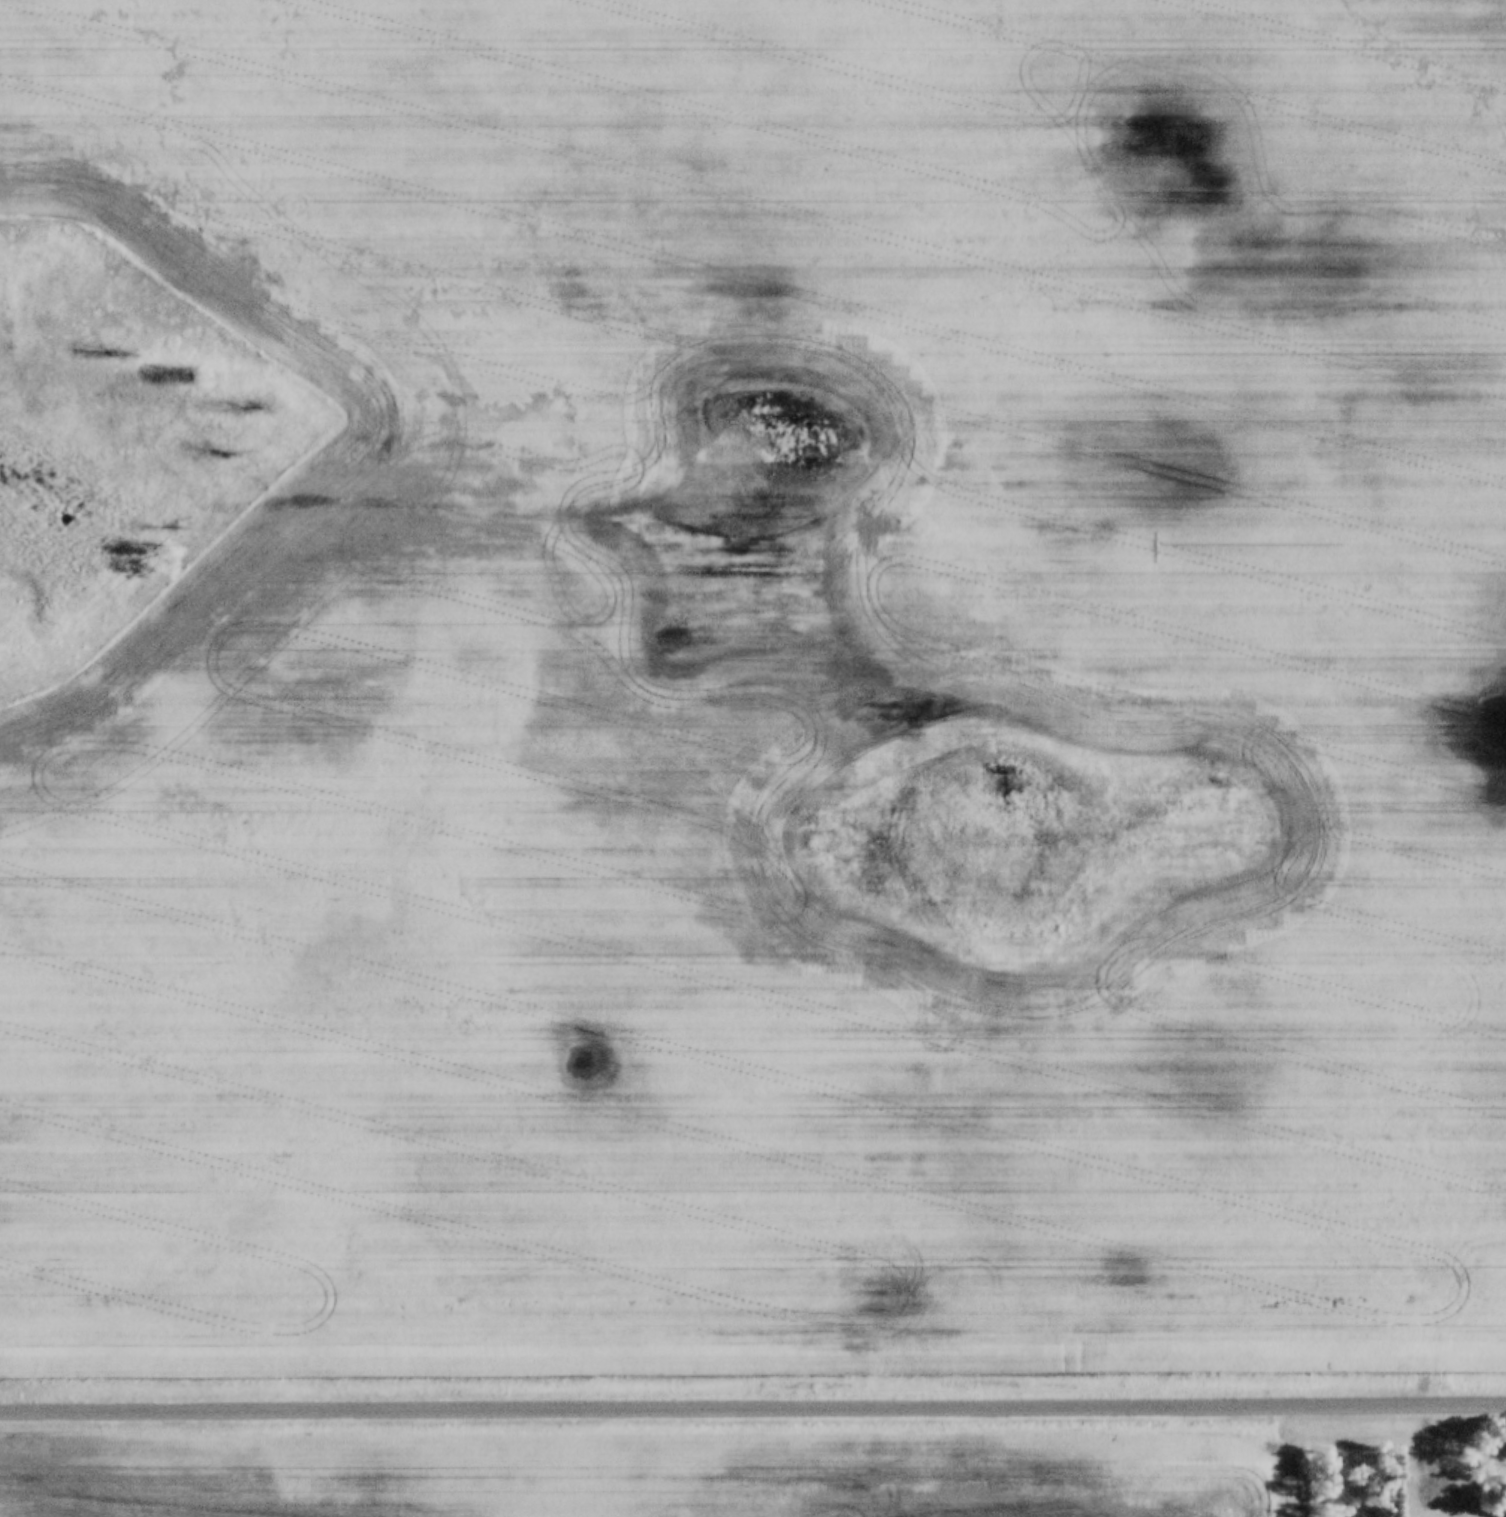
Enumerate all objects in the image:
road: (753, 1406)

